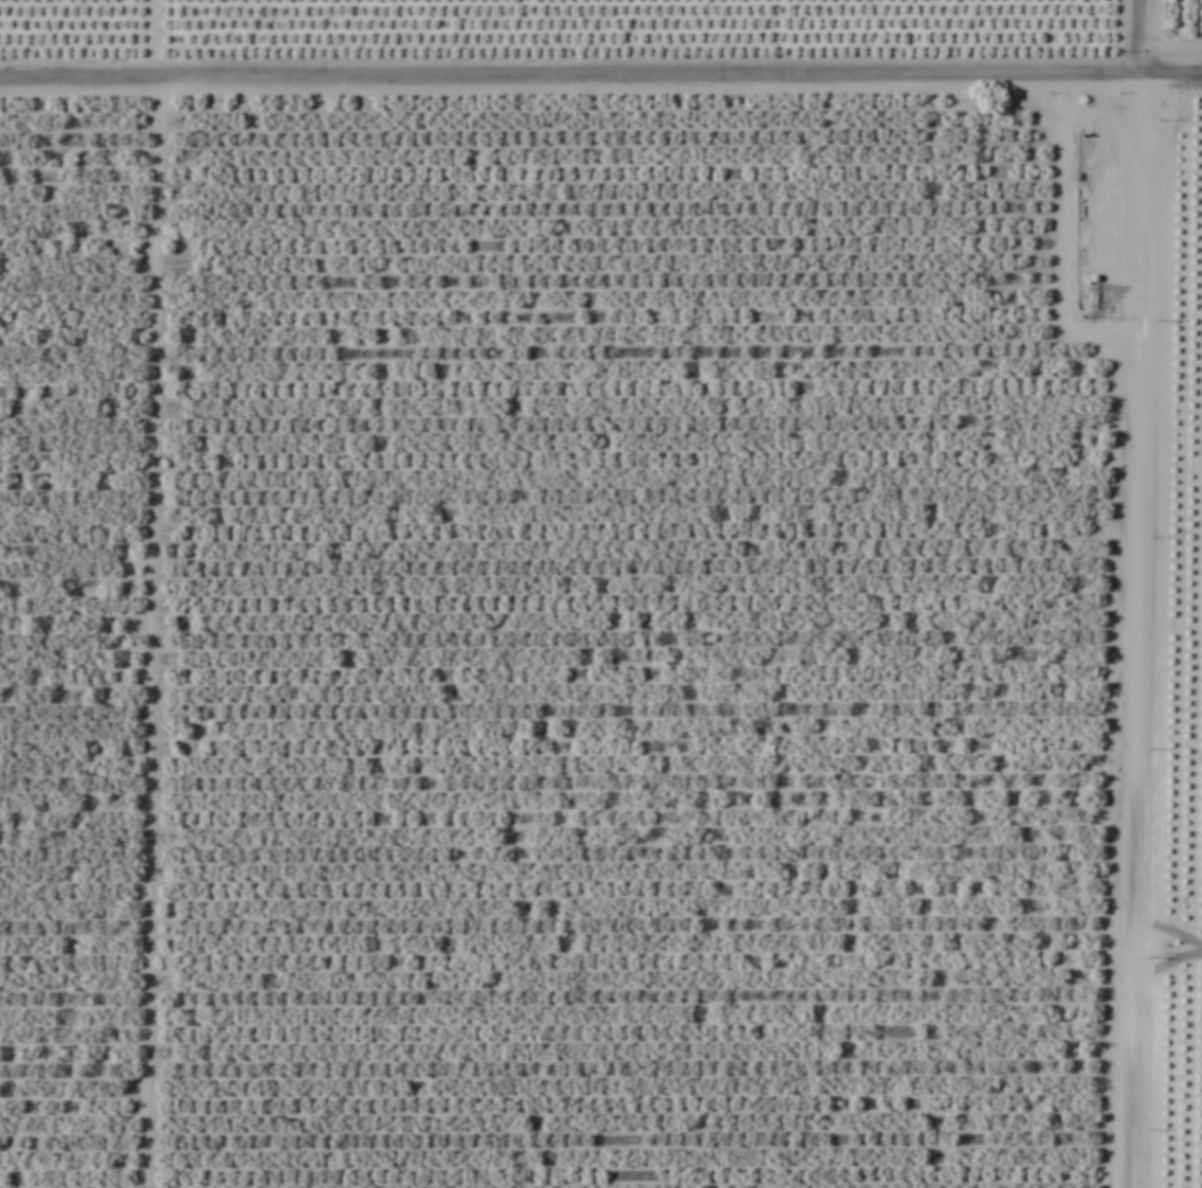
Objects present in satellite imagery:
road: (1142, 38)
road: (600, 78)
crop: (600, 593)
road: (1112, 632)

